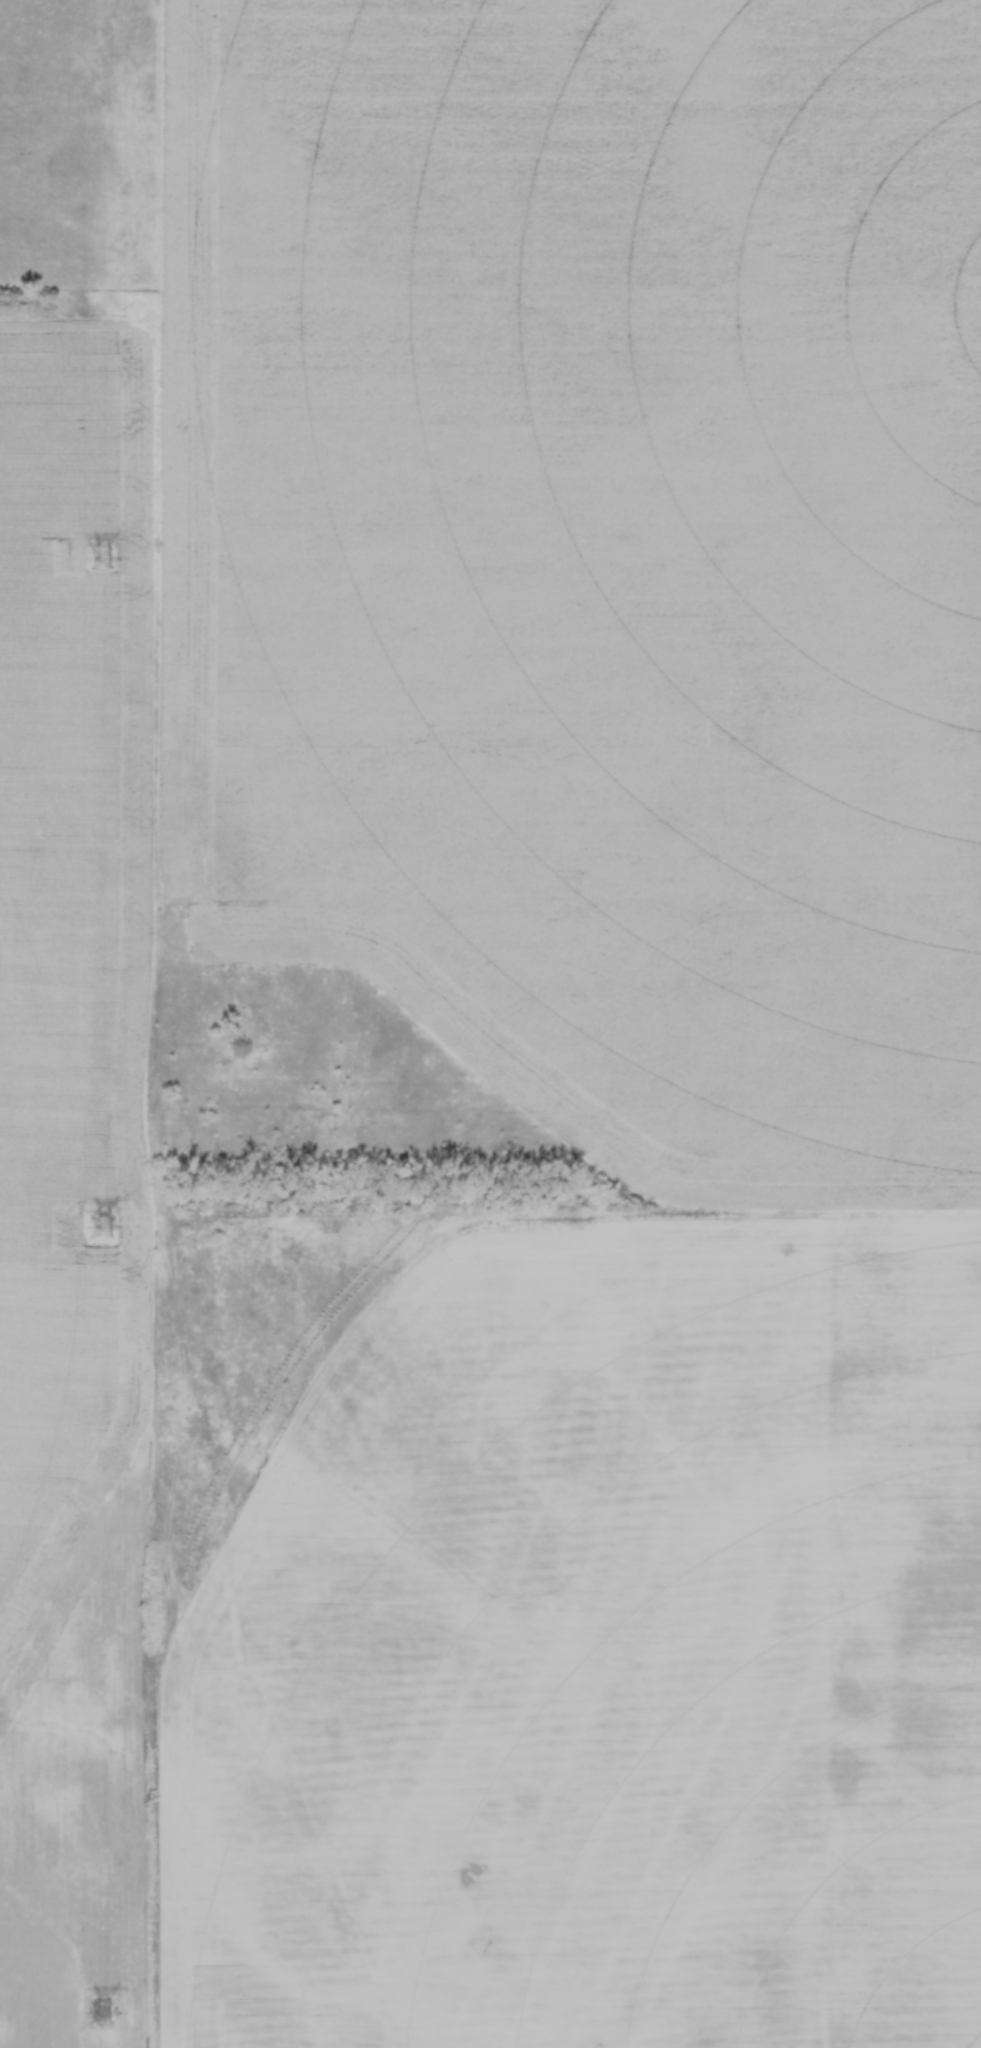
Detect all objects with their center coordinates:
power tower: (106, 558)
power tower: (107, 1227)
power tower: (102, 2015)

